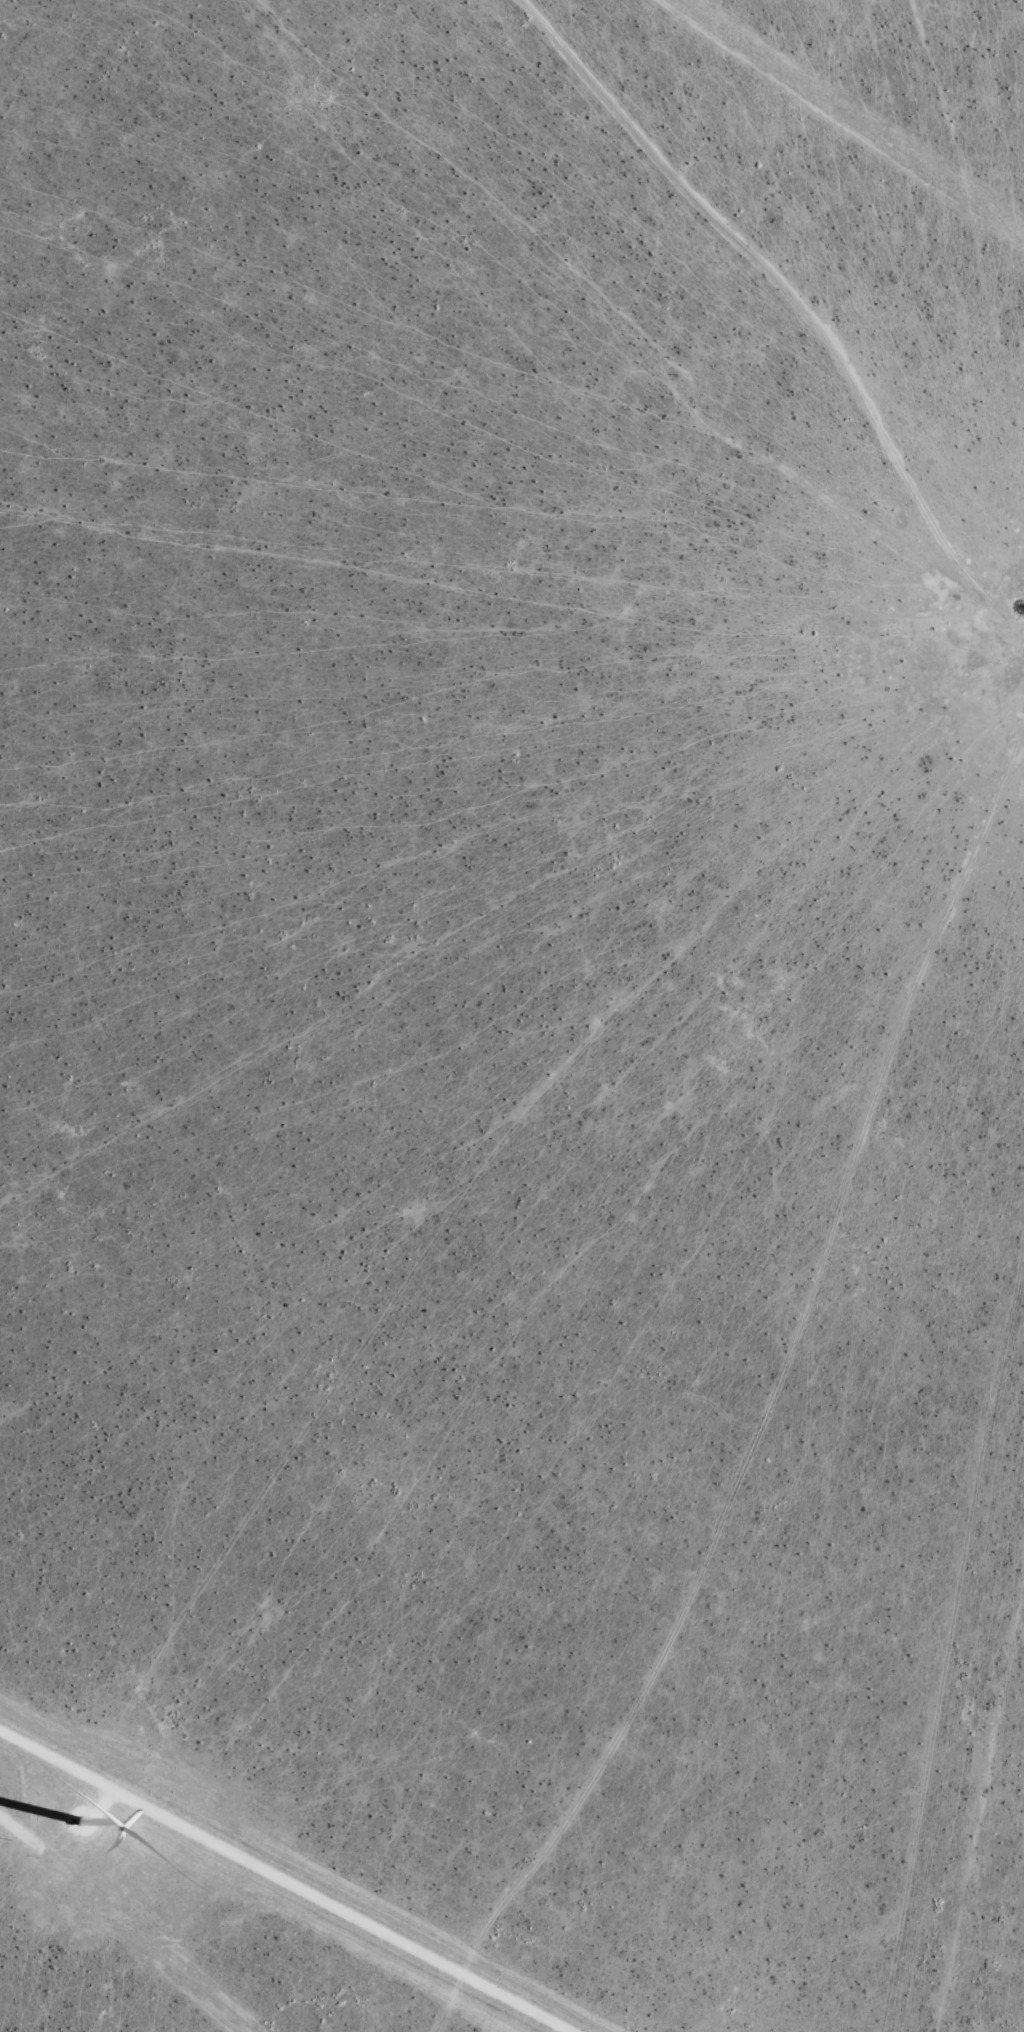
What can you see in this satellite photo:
wind turbine: (79, 1793)

